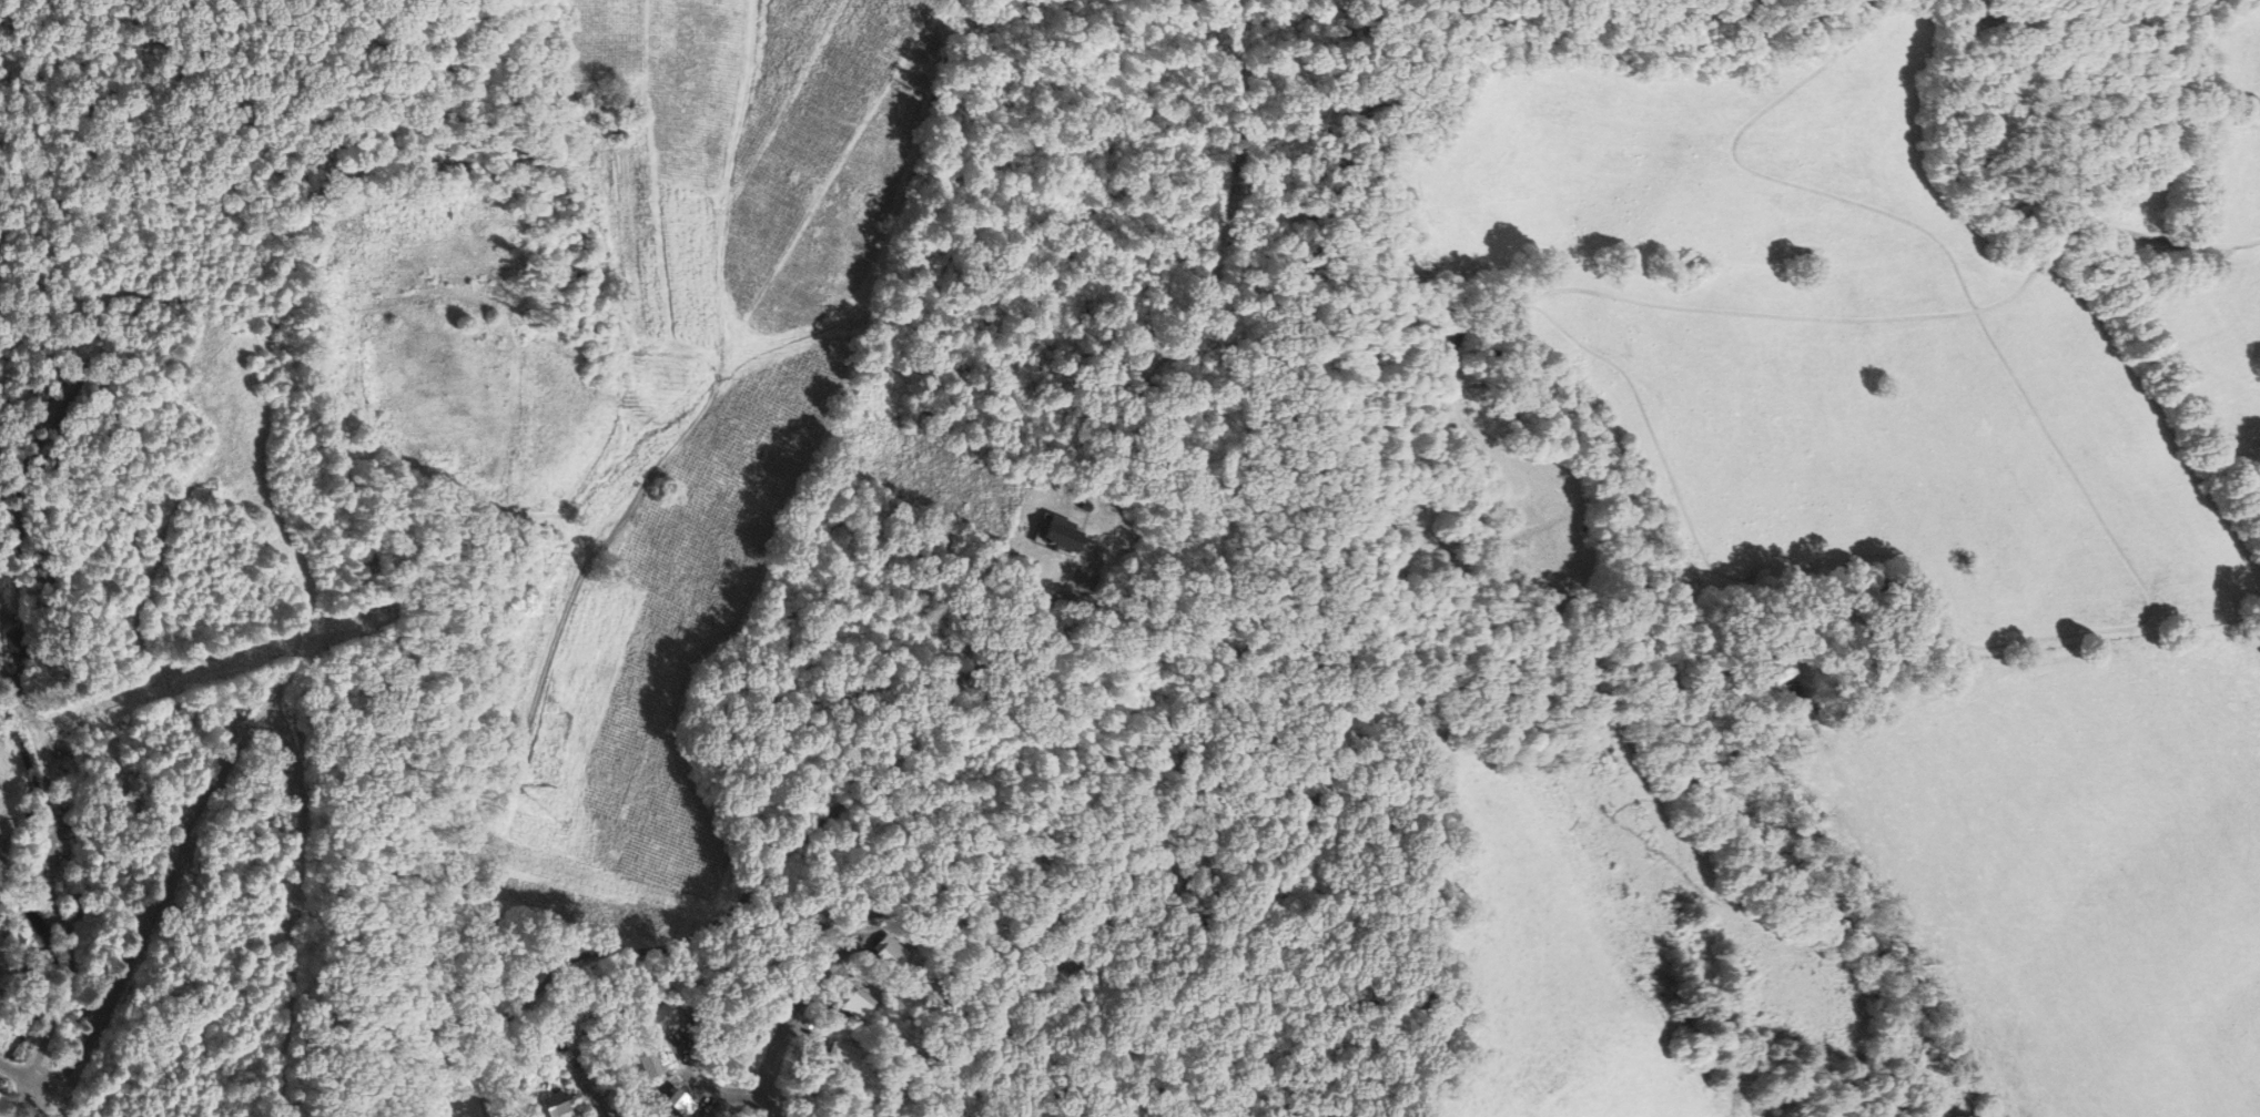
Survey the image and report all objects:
building: (10, 646)
road: (773, 1039)
road: (699, 1080)
road: (587, 1088)

